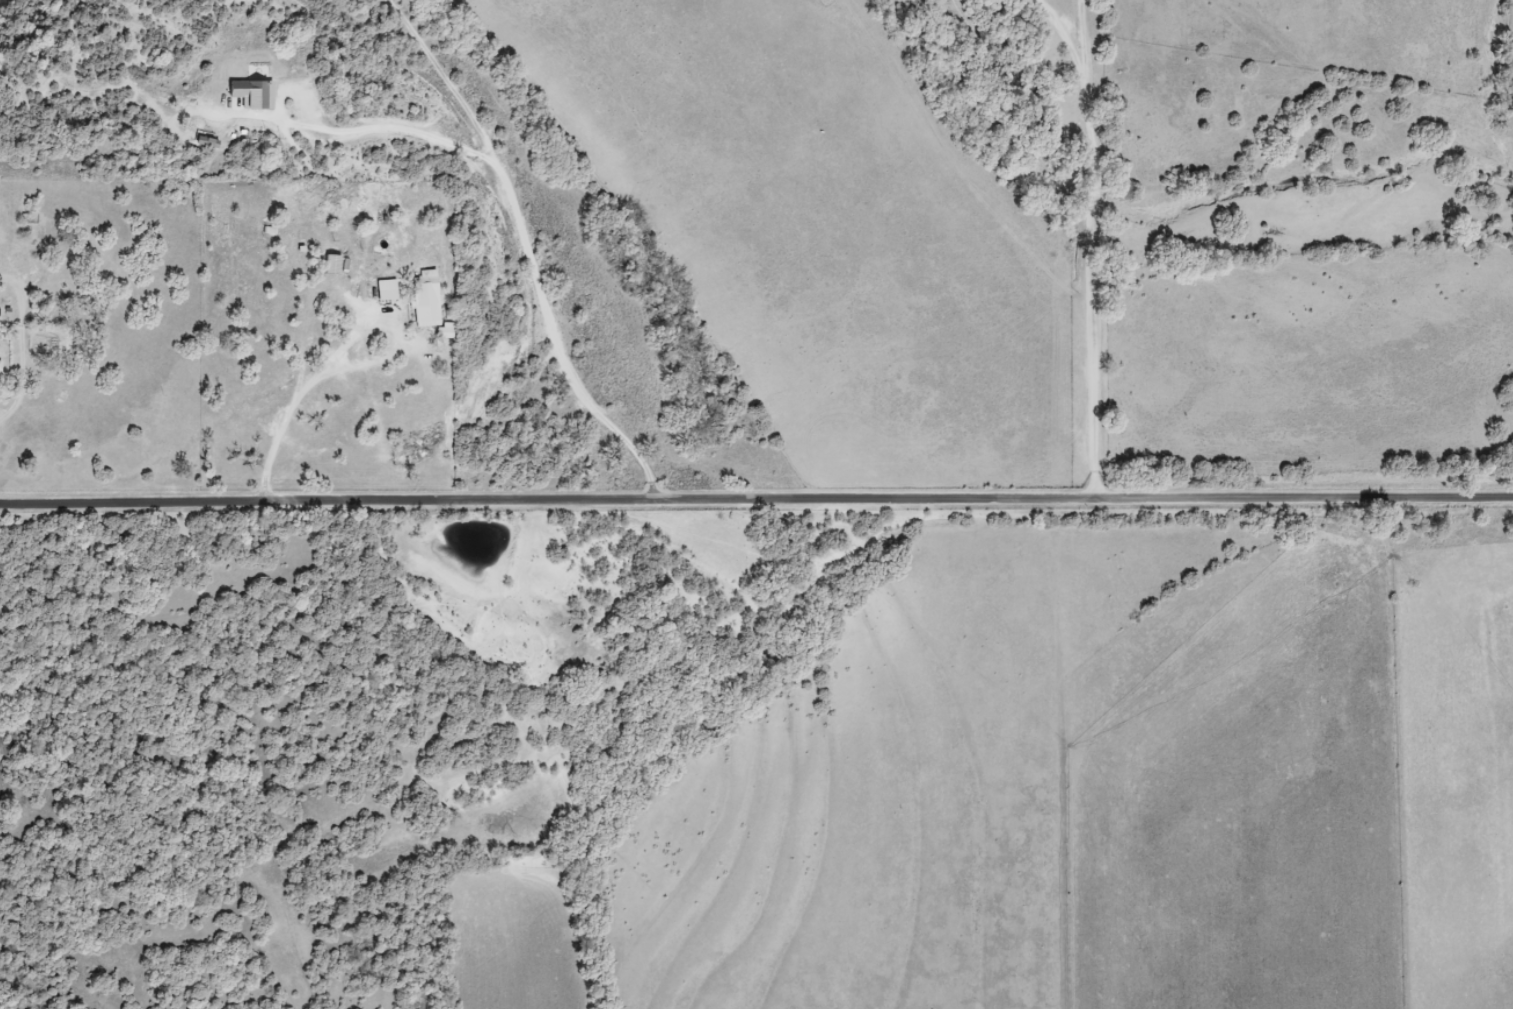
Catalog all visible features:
building: (253, 95)
road: (397, 131)
road: (1089, 242)
road: (529, 251)
building: (427, 299)
road: (22, 347)
building: (0, 371)
road: (294, 392)
road: (756, 501)

